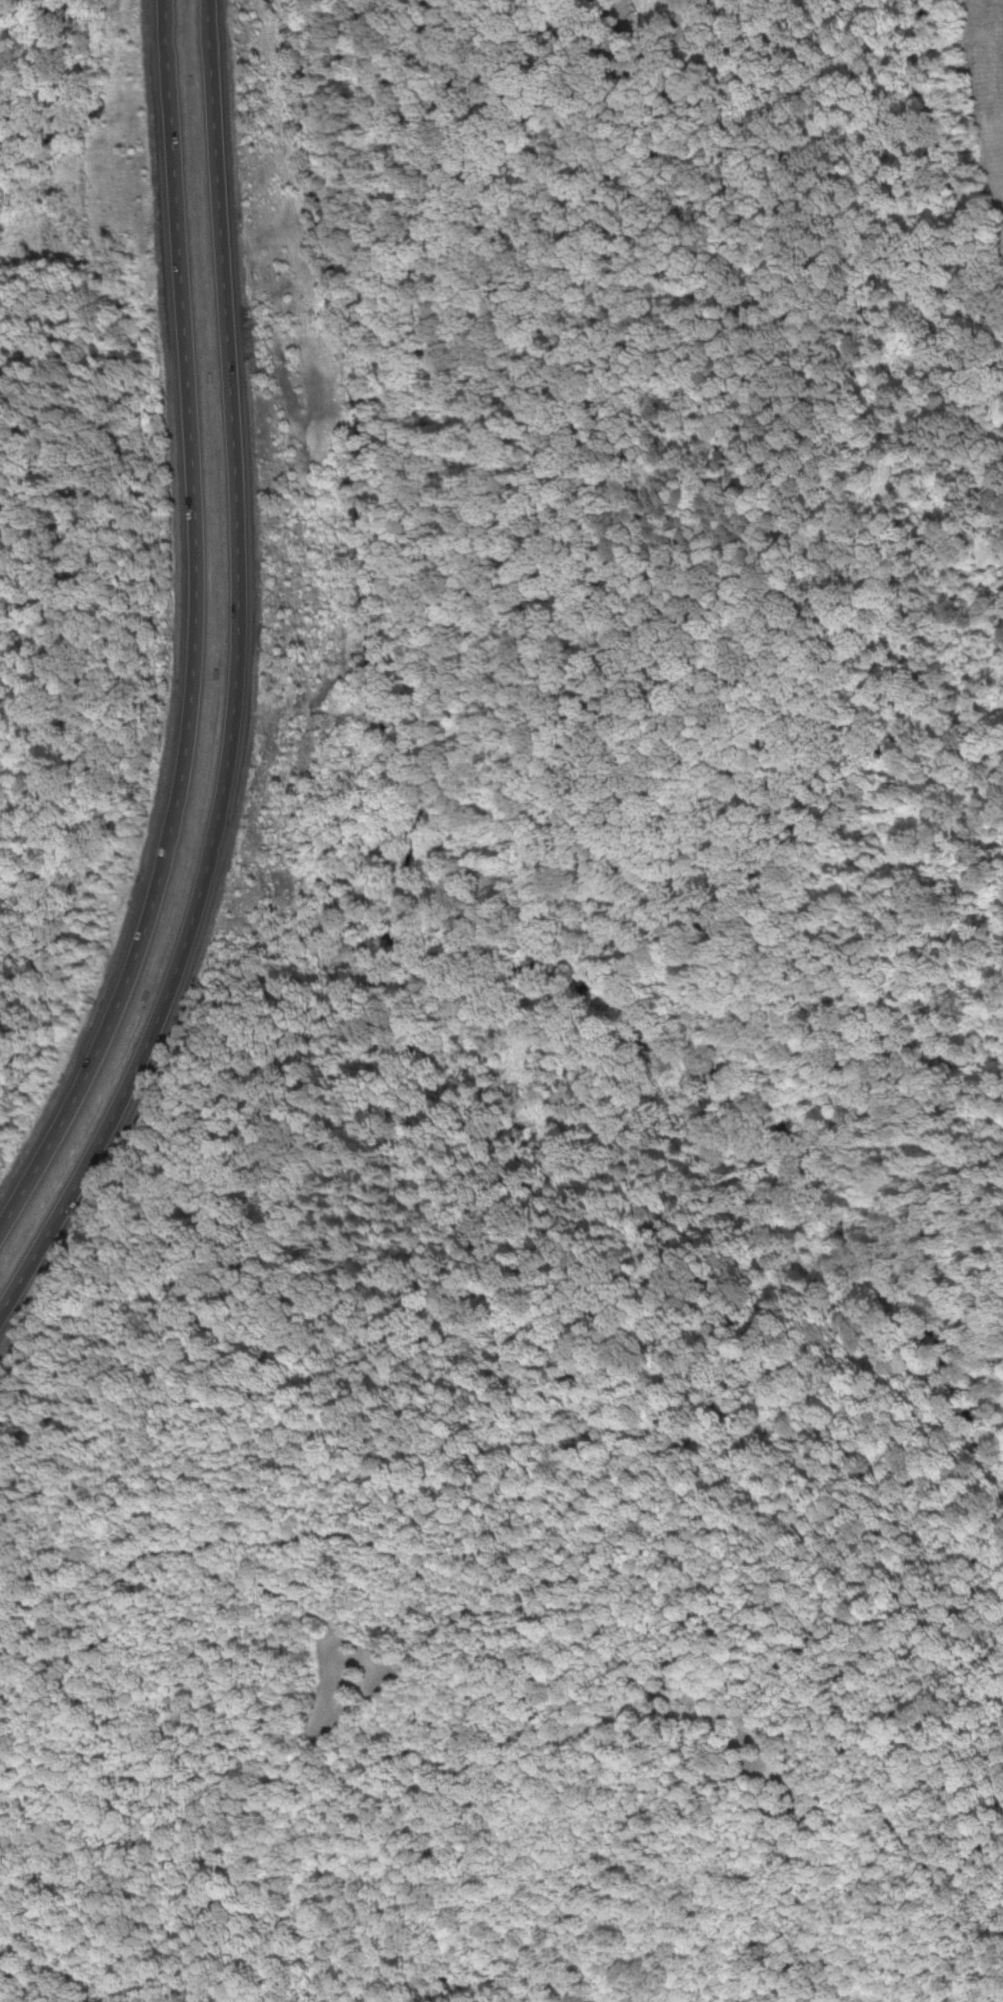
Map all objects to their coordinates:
road: (192, 636)
road: (244, 691)

